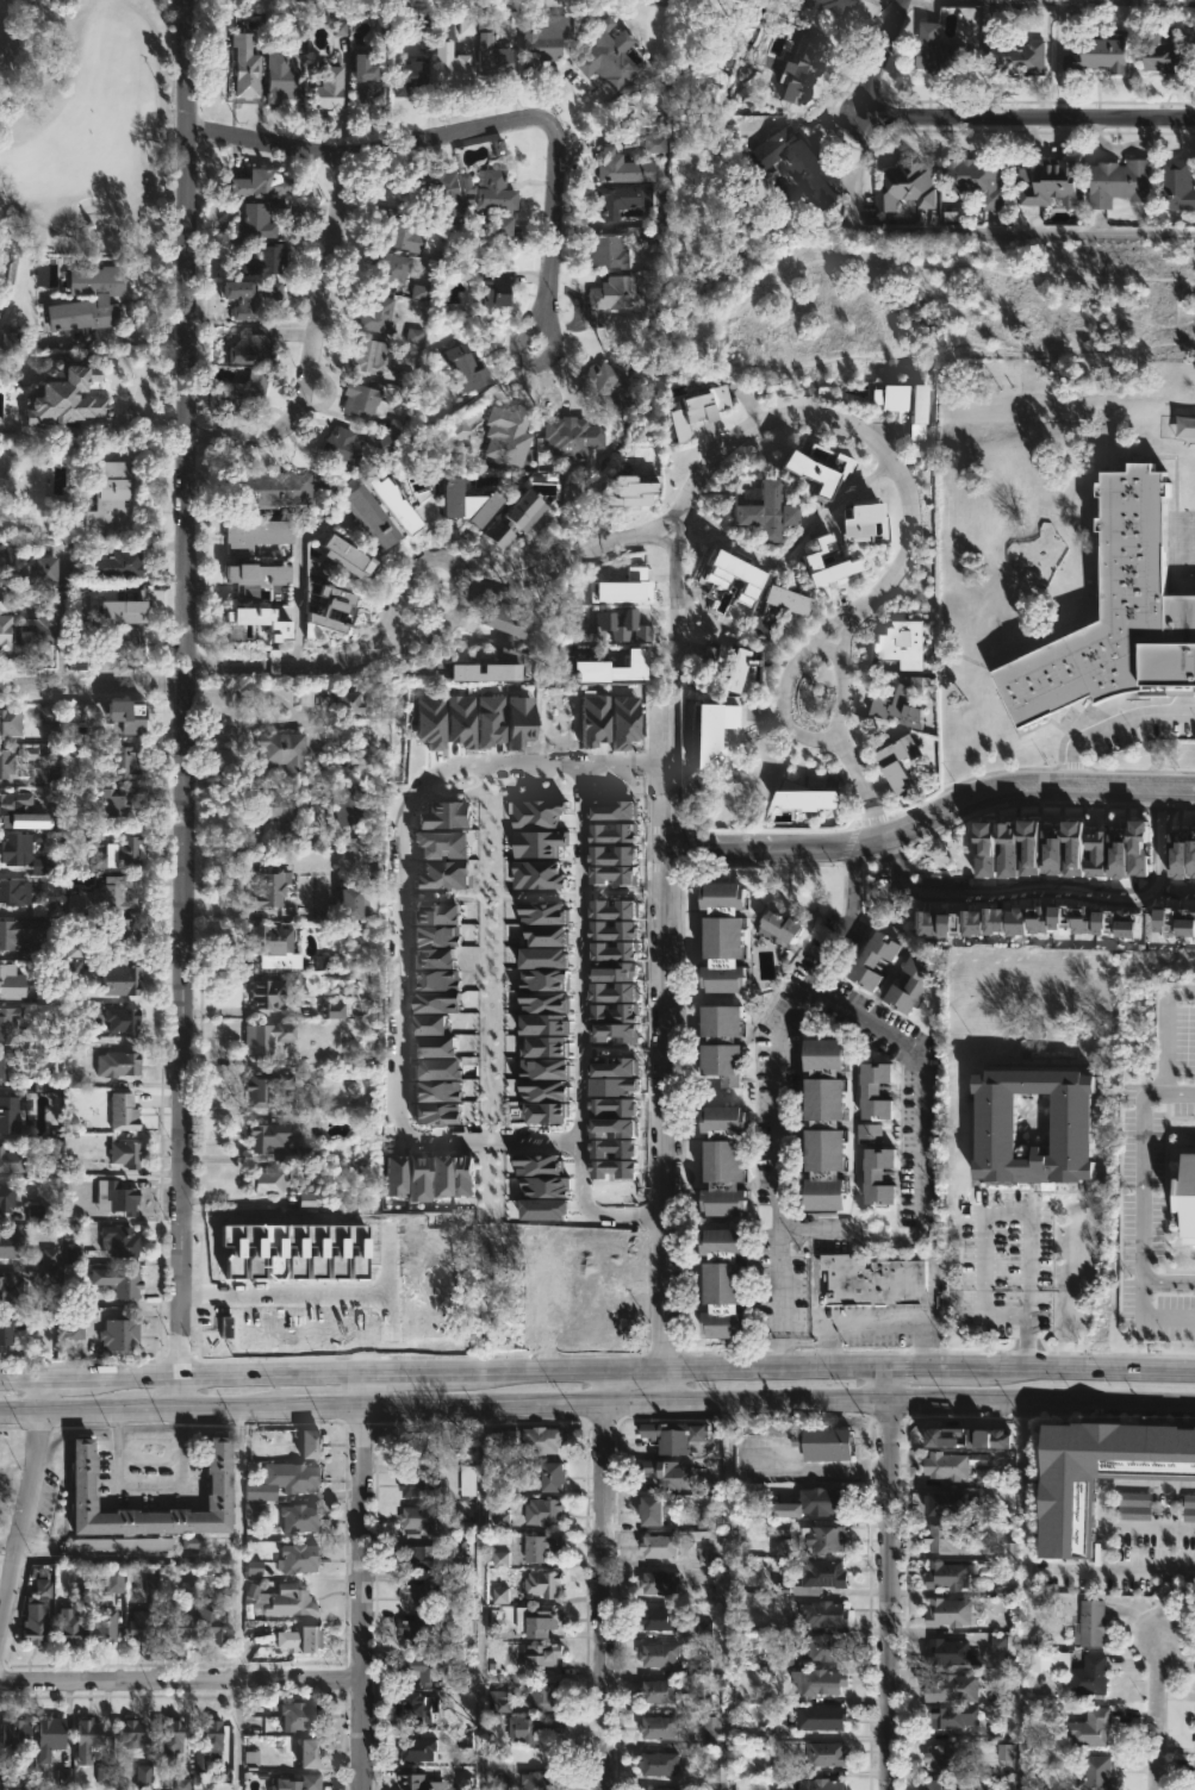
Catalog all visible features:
road: (1047, 0)
building: (542, 50)
building: (936, 50)
building: (496, 52)
building: (611, 54)
building: (1094, 55)
building: (1015, 56)
building: (1159, 57)
building: (248, 66)
building: (454, 67)
building: (799, 70)
building: (412, 75)
building: (282, 76)
building: (369, 76)
building: (329, 91)
road: (978, 108)
park: (85, 114)
road: (361, 150)
building: (789, 162)
building: (624, 167)
road: (150, 177)
building: (975, 180)
building: (1116, 181)
building: (1045, 182)
building: (1175, 183)
building: (266, 185)
building: (903, 185)
building: (496, 188)
building: (622, 198)
building: (452, 200)
building: (262, 218)
building: (506, 227)
building: (403, 231)
road: (958, 231)
building: (604, 250)
building: (269, 258)
road: (547, 263)
building: (399, 267)
road: (1095, 282)
building: (494, 291)
building: (254, 297)
building: (92, 299)
building: (614, 299)
park: (950, 303)
building: (381, 313)
building: (256, 343)
road: (313, 347)
building: (372, 355)
road: (823, 366)
building: (472, 369)
building: (606, 387)
building: (251, 391)
building: (366, 400)
building: (70, 403)
road: (131, 410)
building: (703, 410)
road: (157, 418)
building: (512, 426)
building: (452, 432)
building: (570, 436)
building: (347, 447)
building: (824, 473)
building: (269, 489)
building: (111, 499)
building: (474, 504)
road: (829, 506)
building: (768, 514)
building: (371, 516)
building: (521, 519)
building: (867, 523)
building: (257, 535)
road: (570, 560)
building: (821, 560)
building: (344, 562)
building: (125, 563)
road: (892, 575)
building: (259, 579)
road: (673, 582)
road: (298, 600)
building: (127, 609)
building: (348, 611)
building: (770, 612)
building: (1112, 612)
road: (455, 616)
building: (7, 622)
building: (512, 622)
building: (259, 624)
building: (44, 626)
building: (122, 644)
road: (824, 648)
building: (618, 665)
road: (225, 668)
building: (746, 669)
building: (494, 671)
road: (785, 680)
road: (91, 682)
road: (249, 690)
building: (895, 700)
road: (182, 705)
building: (355, 705)
building: (50, 717)
building: (127, 717)
building: (11, 719)
road: (1110, 725)
building: (284, 749)
building: (892, 759)
building: (10, 762)
building: (126, 763)
building: (43, 778)
building: (11, 803)
building: (111, 803)
building: (350, 804)
building: (280, 811)
road: (929, 816)
road: (1160, 838)
building: (18, 847)
building: (119, 854)
building: (270, 886)
road: (1177, 887)
road: (1007, 890)
building: (14, 891)
building: (116, 894)
building: (356, 904)
building: (780, 927)
building: (118, 931)
building: (734, 935)
building: (10, 940)
building: (278, 946)
road: (397, 959)
building: (876, 959)
building: (125, 978)
building: (5, 983)
building: (915, 983)
road: (578, 986)
building: (270, 992)
building: (124, 1019)
building: (12, 1024)
road: (1169, 1035)
building: (269, 1037)
building: (729, 1042)
building: (118, 1064)
building: (7, 1065)
road: (666, 1069)
road: (777, 1079)
building: (266, 1086)
building: (880, 1093)
building: (125, 1112)
building: (11, 1115)
building: (833, 1125)
building: (995, 1129)
building: (872, 1133)
building: (269, 1135)
building: (126, 1153)
road: (920, 1158)
building: (12, 1160)
building: (732, 1160)
building: (882, 1175)
building: (268, 1183)
building: (1187, 1190)
road: (1144, 1191)
building: (7, 1193)
building: (118, 1197)
road: (1006, 1209)
building: (120, 1241)
building: (11, 1246)
building: (870, 1279)
building: (120, 1280)
building: (729, 1283)
building: (13, 1286)
road: (984, 1302)
road: (1029, 1302)
road: (1143, 1316)
road: (873, 1321)
building: (77, 1322)
road: (1028, 1322)
building: (7, 1328)
building: (120, 1335)
road: (597, 1377)
road: (888, 1386)
road: (667, 1389)
road: (600, 1390)
road: (597, 1404)
building: (673, 1434)
building: (953, 1439)
building: (543, 1440)
building: (316, 1445)
building: (833, 1445)
building: (415, 1448)
building: (944, 1465)
building: (666, 1472)
building: (466, 1477)
building: (559, 1478)
building: (286, 1480)
building: (86, 1485)
building: (419, 1485)
building: (824, 1501)
building: (944, 1502)
road: (1104, 1509)
road: (29, 1510)
building: (544, 1511)
building: (656, 1511)
building: (301, 1517)
building: (419, 1517)
building: (1070, 1517)
building: (822, 1535)
building: (946, 1536)
building: (122, 1543)
building: (659, 1545)
road: (239, 1546)
building: (539, 1546)
building: (297, 1557)
road: (129, 1558)
building: (418, 1558)
road: (1150, 1567)
building: (824, 1574)
building: (945, 1574)
building: (661, 1582)
building: (544, 1583)
road: (363, 1584)
building: (429, 1592)
road: (727, 1596)
road: (888, 1596)
road: (1022, 1596)
road: (602, 1597)
road: (479, 1598)
building: (292, 1602)
building: (945, 1611)
building: (821, 1613)
building: (654, 1617)
building: (540, 1621)
building: (1088, 1622)
building: (214, 1623)
building: (37, 1626)
building: (69, 1626)
building: (106, 1626)
building: (143, 1626)
building: (178, 1629)
building: (423, 1630)
building: (305, 1640)
building: (821, 1647)
building: (948, 1652)
building: (658, 1654)
building: (544, 1657)
building: (428, 1667)
building: (1071, 1670)
building: (820, 1680)
road: (181, 1682)
building: (950, 1688)
building: (654, 1690)
building: (546, 1694)
building: (506, 1703)
building: (422, 1710)
building: (300, 1711)
road: (1160, 1713)
building: (819, 1716)
building: (951, 1716)
building: (658, 1726)
building: (1088, 1728)
building: (535, 1730)
building: (709, 1730)
building: (19, 1733)
building: (132, 1733)
building: (172, 1733)
building: (212, 1735)
road: (236, 1735)
building: (51, 1736)
building: (1194, 1738)
building: (89, 1739)
building: (413, 1748)
building: (315, 1751)
building: (823, 1752)
building: (944, 1755)
building: (654, 1763)
building: (1095, 1773)
building: (544, 1779)
building: (422, 1780)
building: (300, 1782)
building: (819, 1784)
building: (939, 1784)
building: (1194, 1786)
building: (648, 1789)

